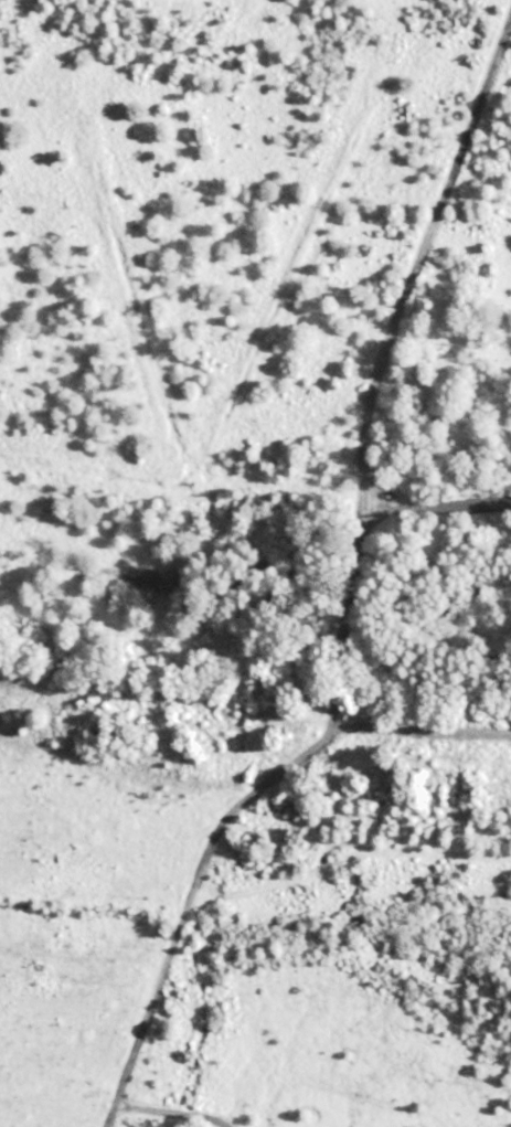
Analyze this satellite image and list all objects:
road: (387, 355)
road: (428, 489)
road: (161, 698)
road: (235, 831)

